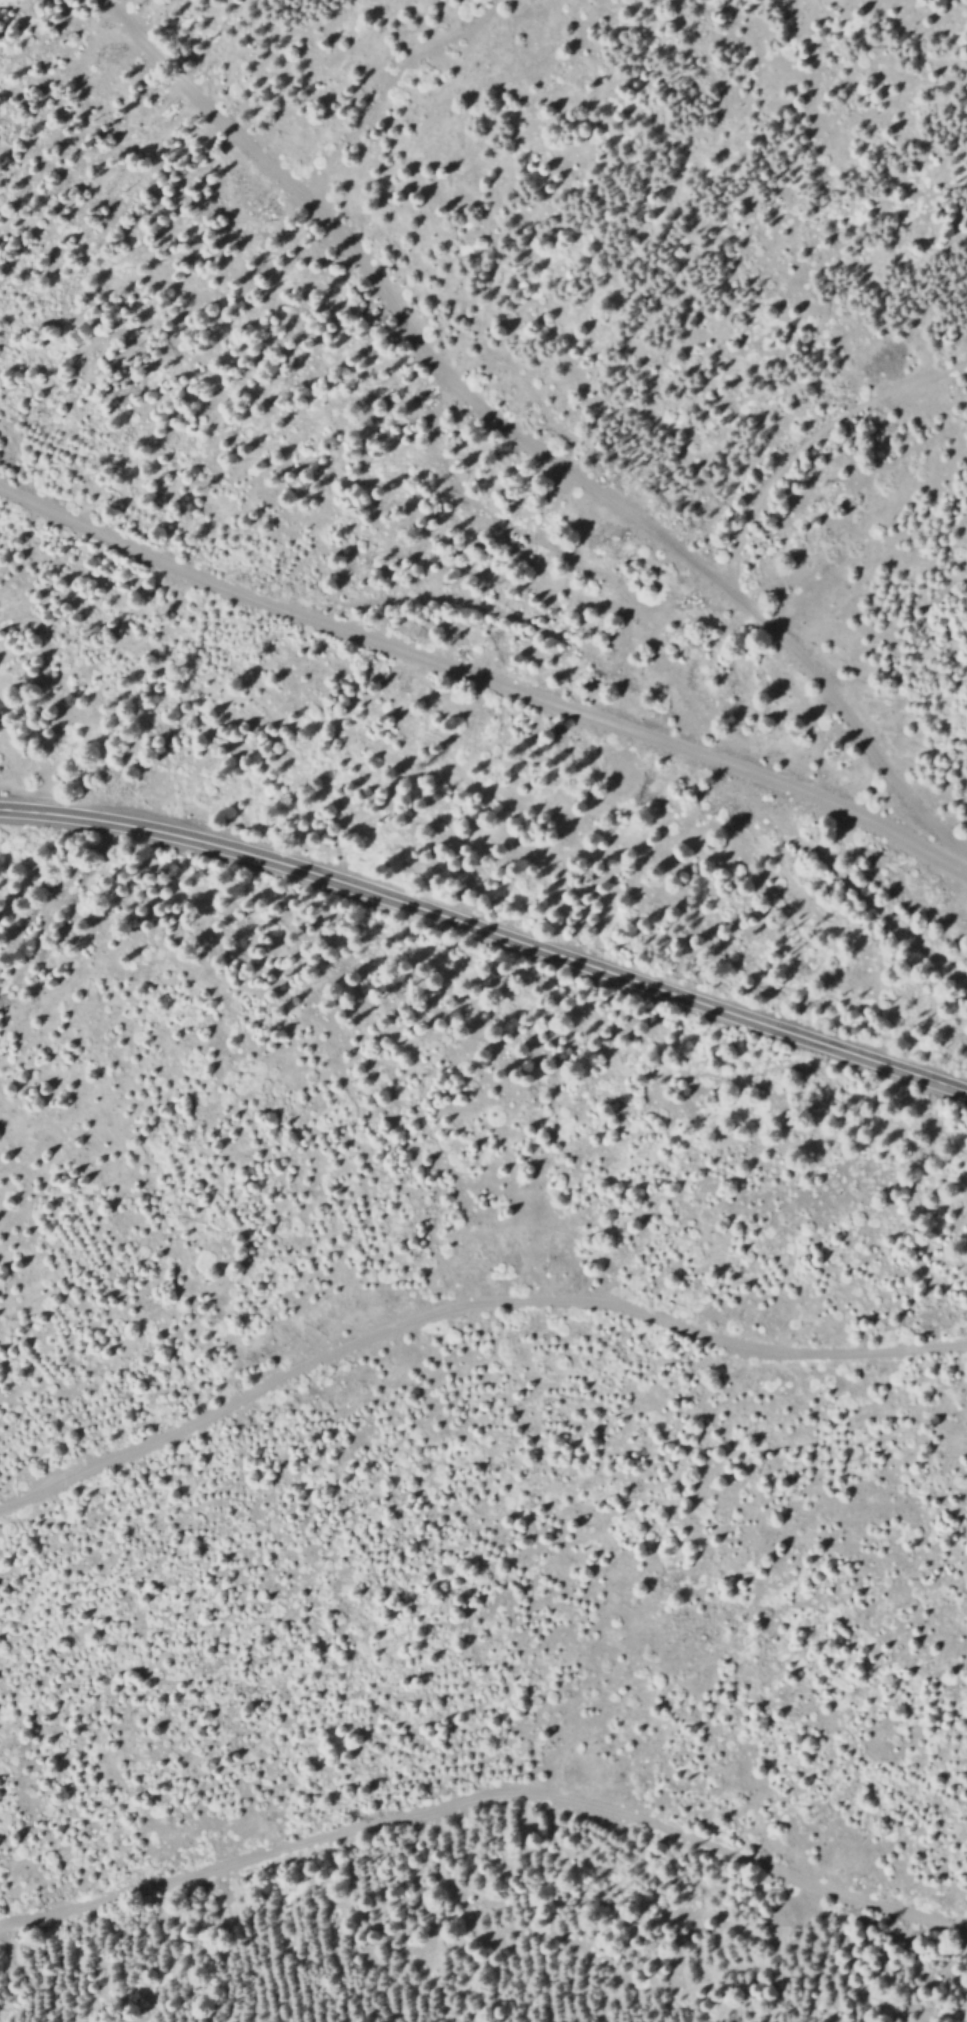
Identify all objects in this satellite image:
road: (385, 86)
road: (521, 437)
road: (808, 440)
road: (147, 547)
road: (635, 725)
road: (55, 905)
road: (488, 928)
road: (466, 1306)
road: (488, 1797)

